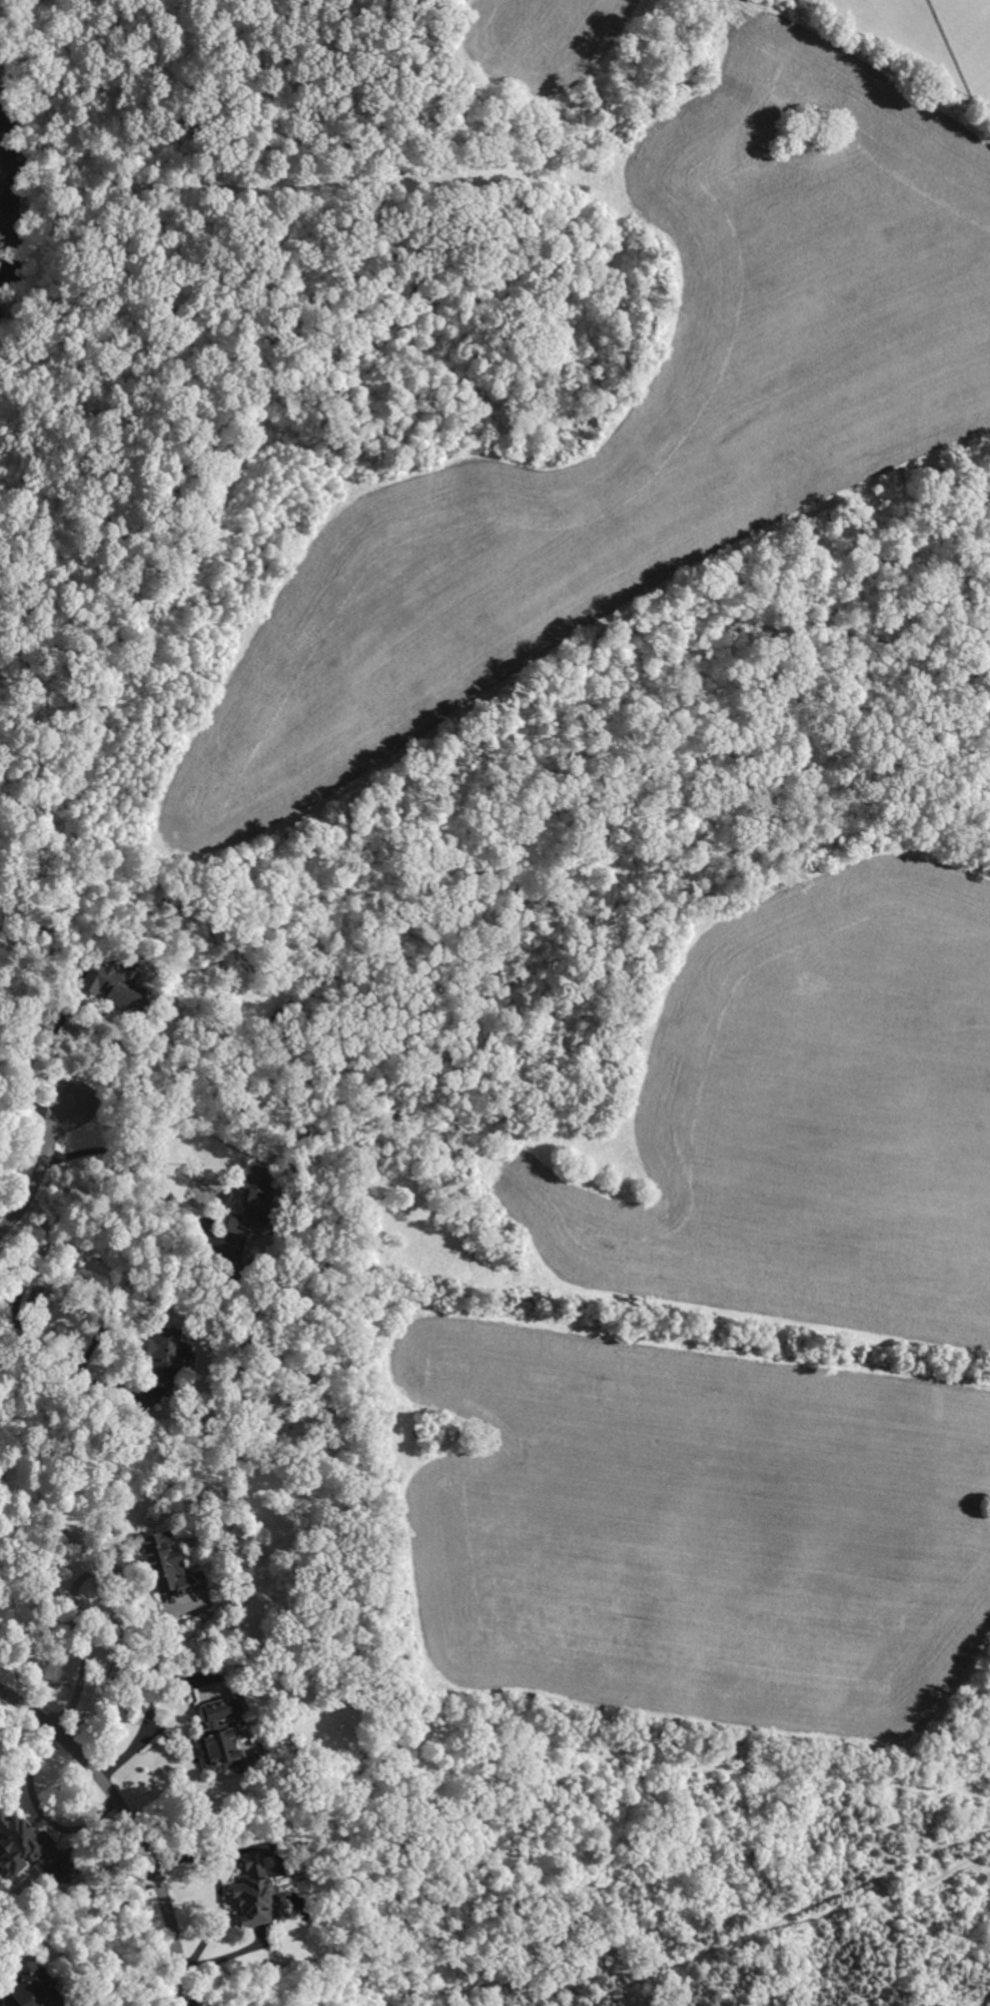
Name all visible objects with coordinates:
river: (4, 211)
building: (113, 984)
road: (90, 1009)
road: (32, 1105)
road: (138, 1154)
road: (39, 1172)
building: (247, 1200)
road: (57, 1356)
building: (158, 1356)
building: (163, 1564)
road: (71, 1610)
road: (148, 1716)
building: (215, 1733)
road: (132, 1823)
building: (17, 1844)
road: (216, 1889)
building: (247, 1890)
building: (20, 1981)
road: (218, 1997)

